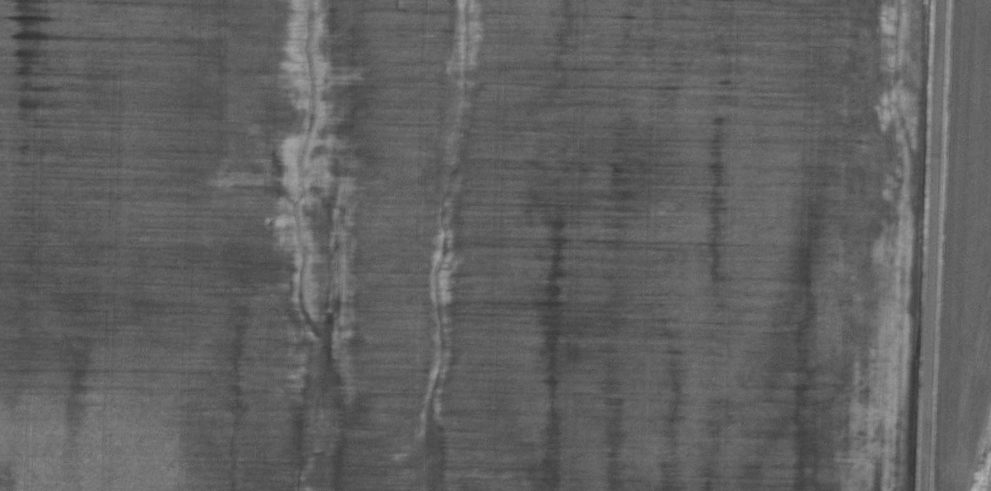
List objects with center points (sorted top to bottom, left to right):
road: (934, 245)

